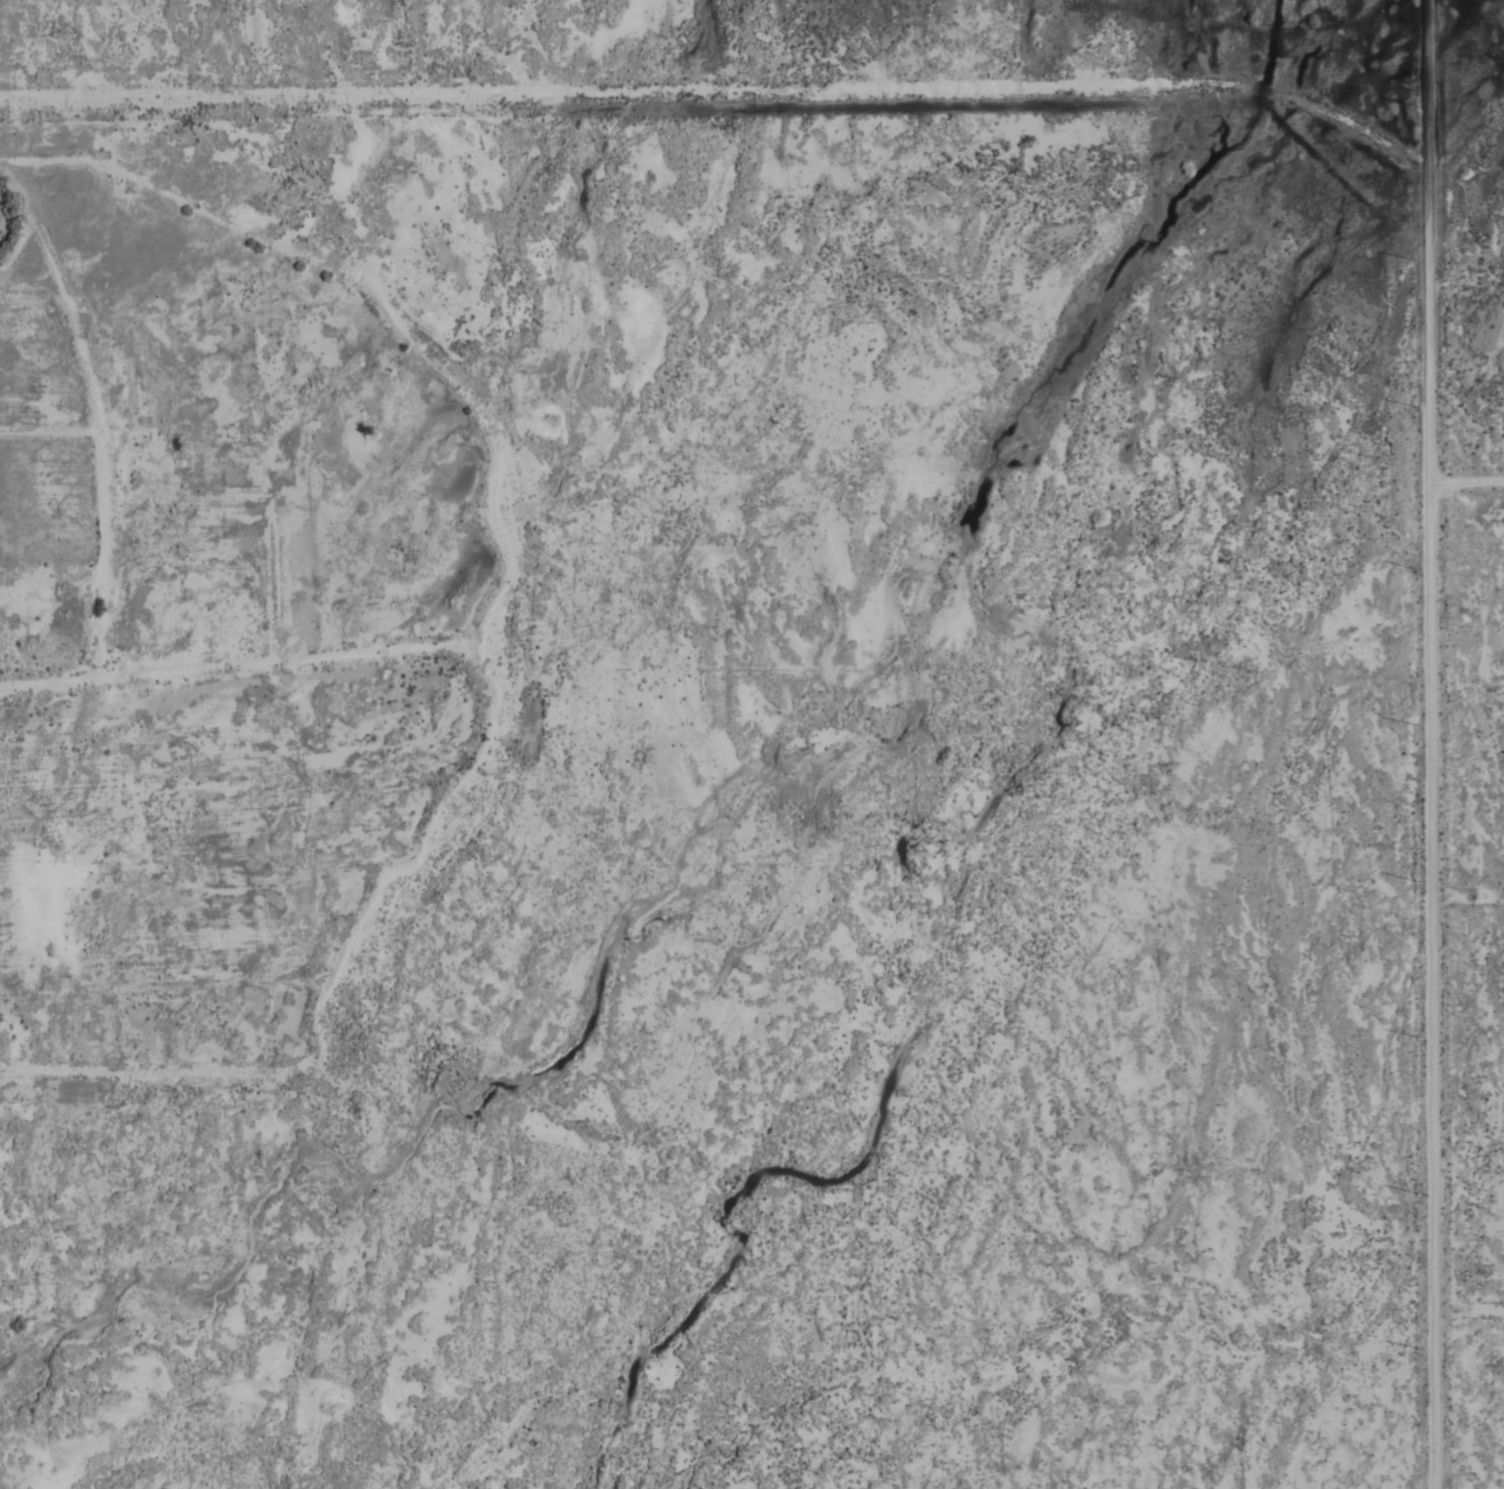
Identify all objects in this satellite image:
road: (1433, 871)

